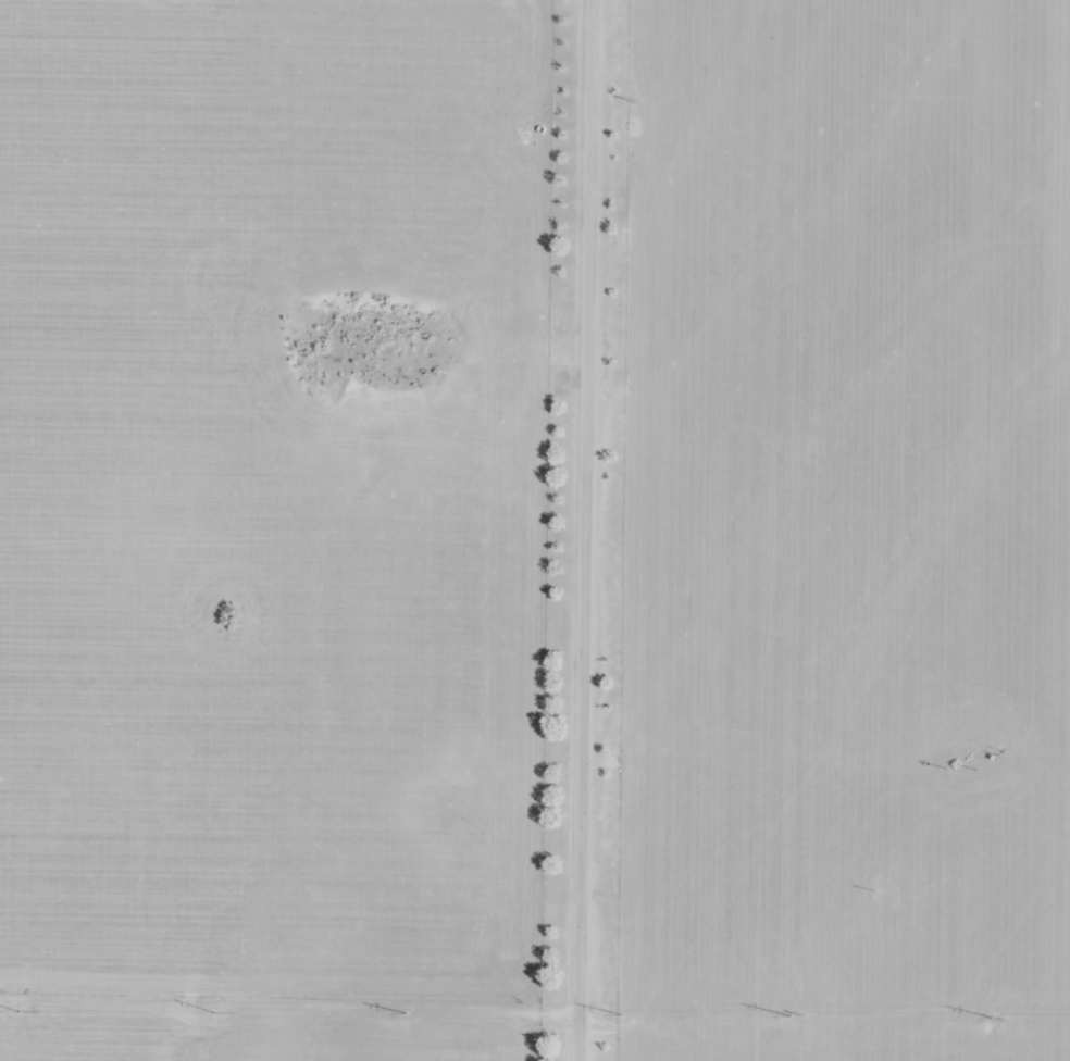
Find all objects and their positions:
road: (585, 530)

